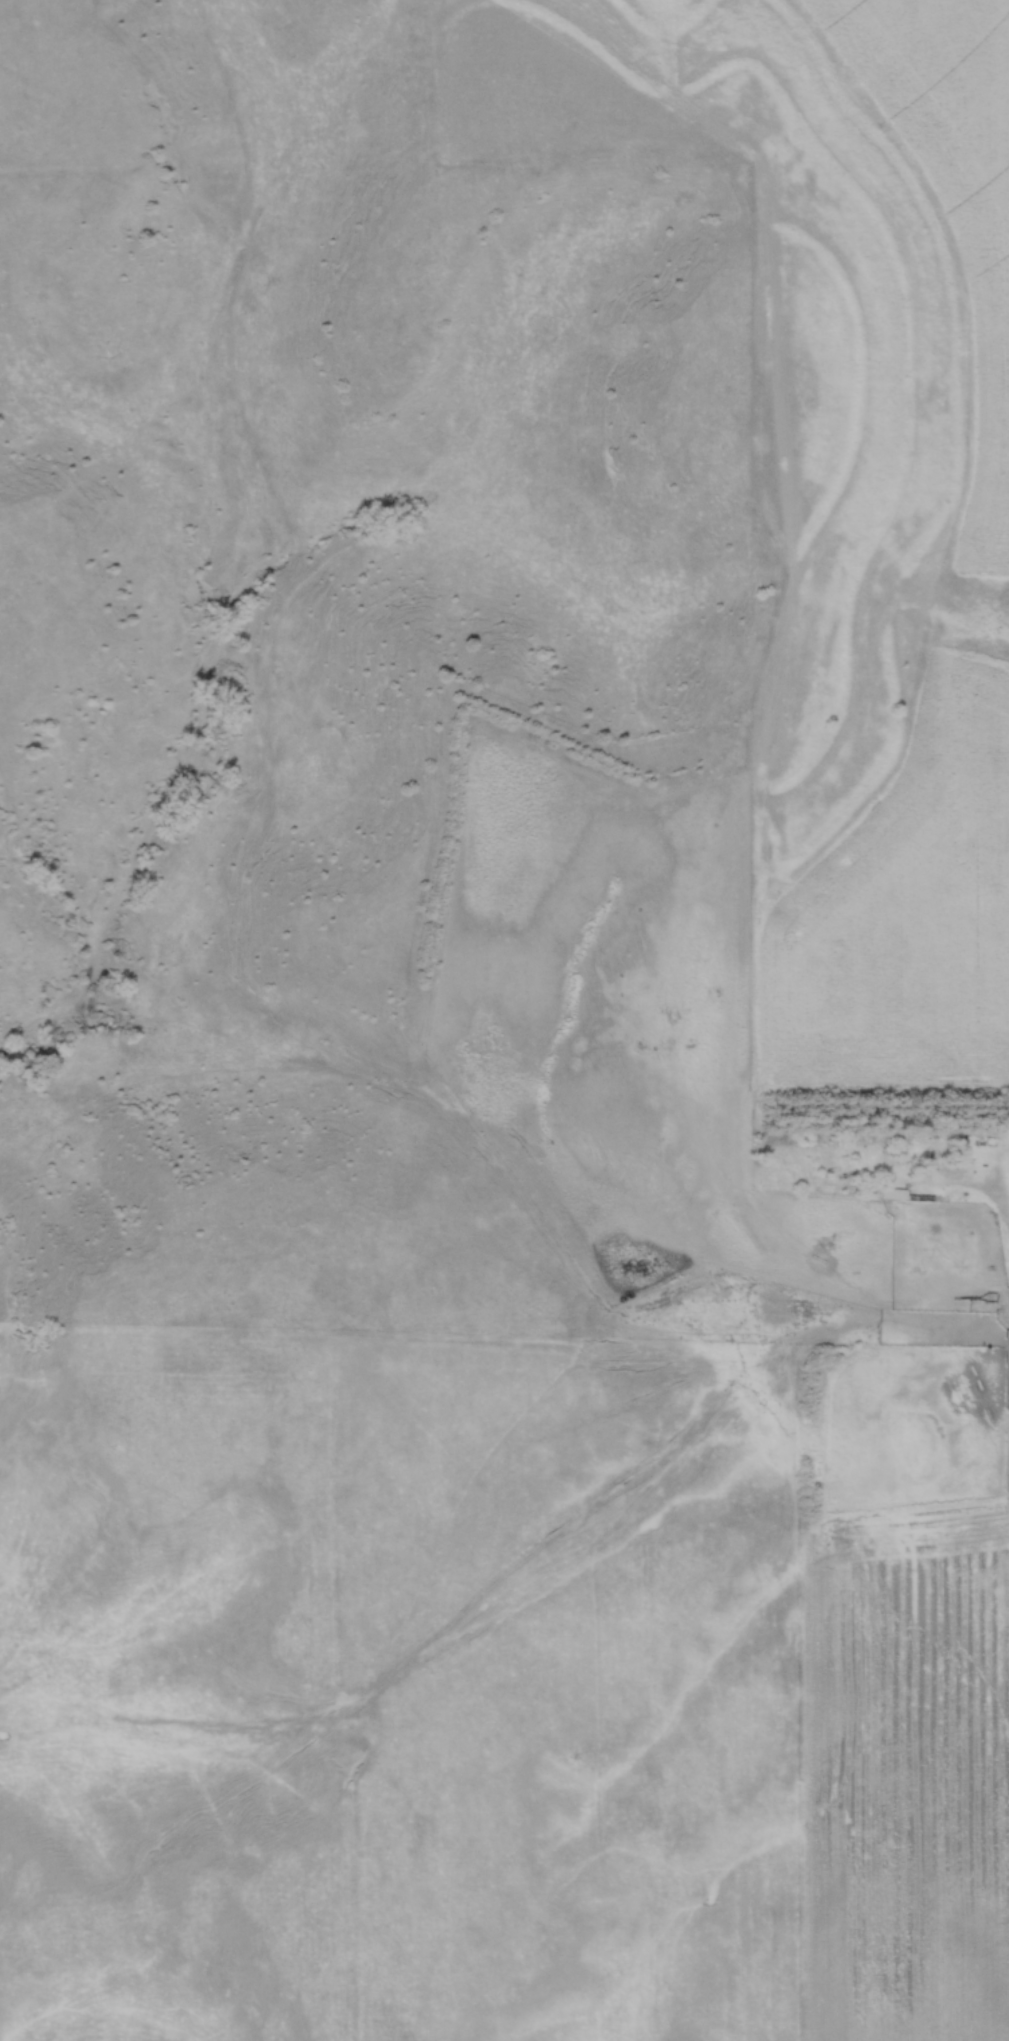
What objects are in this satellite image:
building: (890, 1194)

